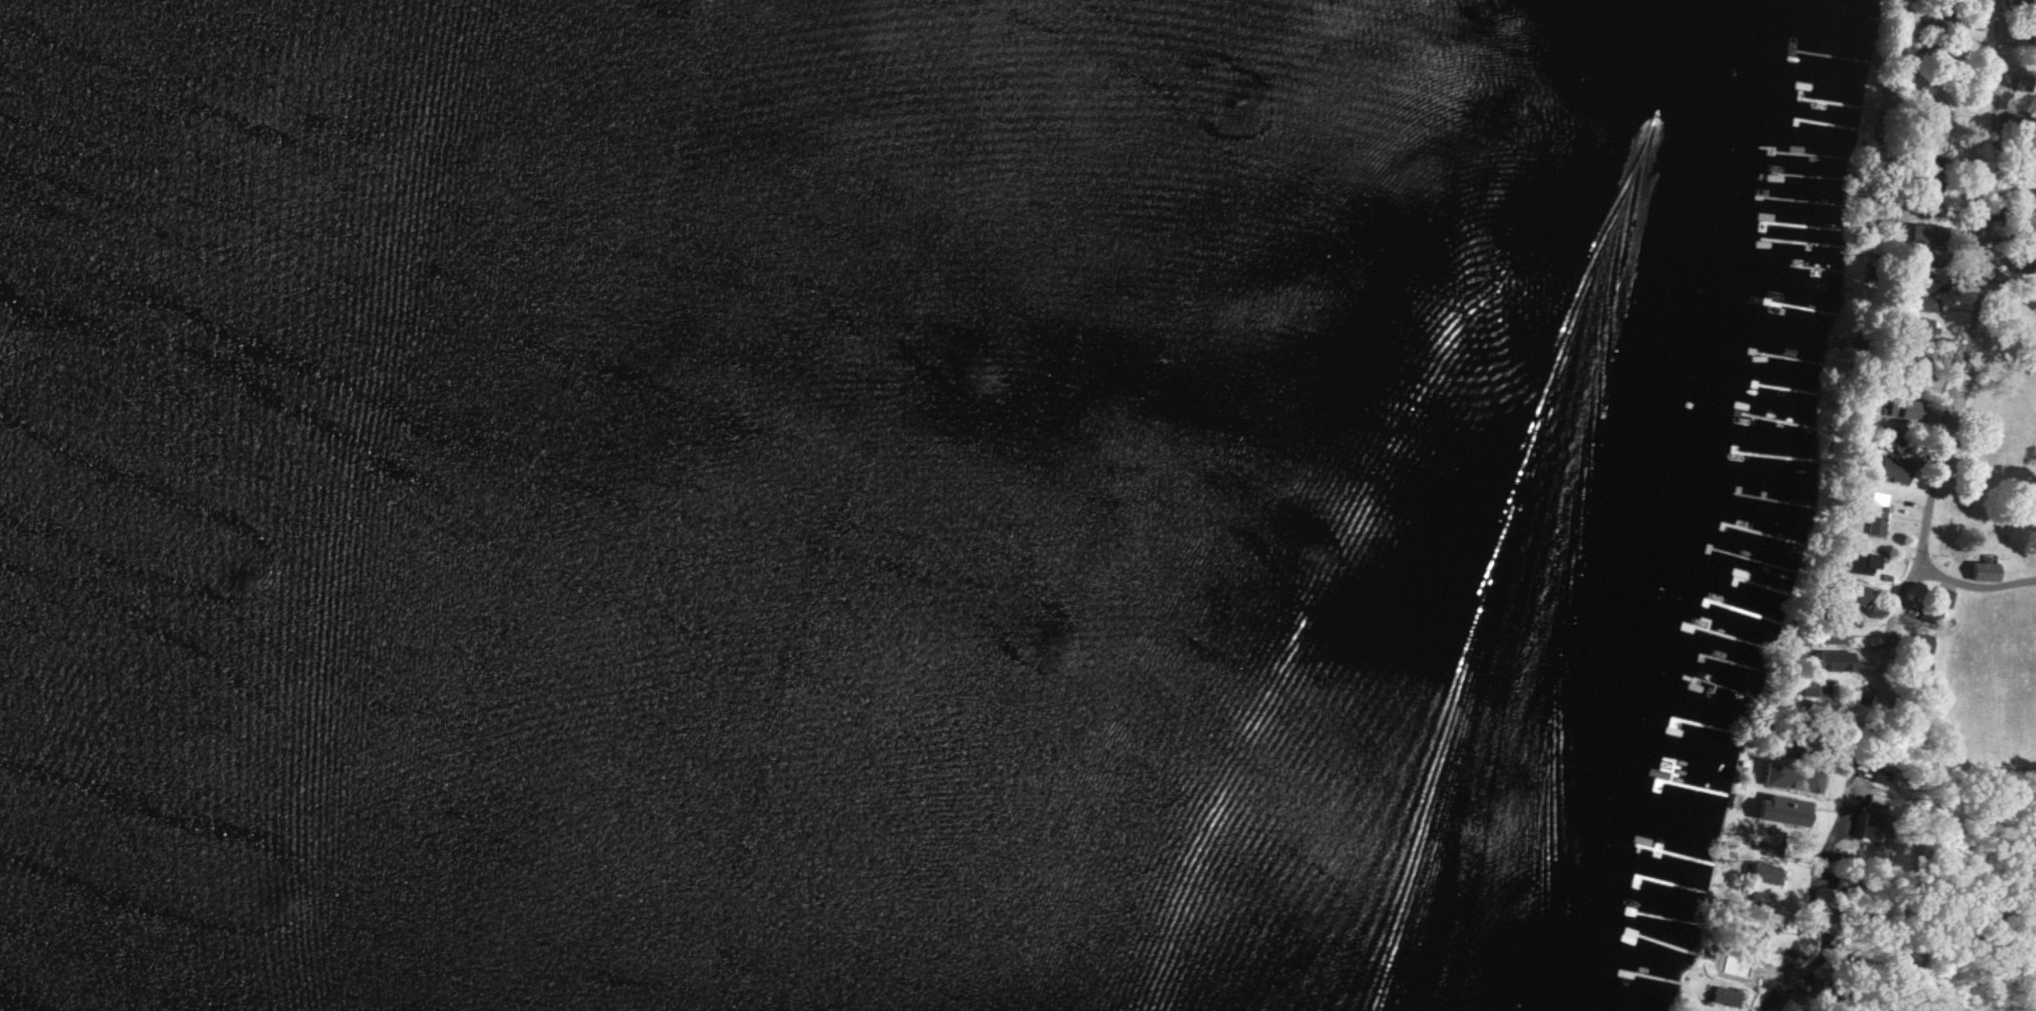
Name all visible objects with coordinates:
building: (1929, 234)
building: (1935, 281)
building: (1926, 303)
road: (1966, 346)
building: (1907, 409)
building: (1897, 468)
building: (1877, 512)
building: (1874, 560)
building: (1984, 569)
road: (1898, 616)
building: (1837, 660)
building: (1814, 688)
building: (1887, 776)
building: (1796, 777)
building: (1789, 809)
building: (1870, 826)
road: (1823, 863)
building: (1769, 872)
building: (1760, 899)
road: (1886, 944)
building: (1727, 996)
building: (1790, 1005)

